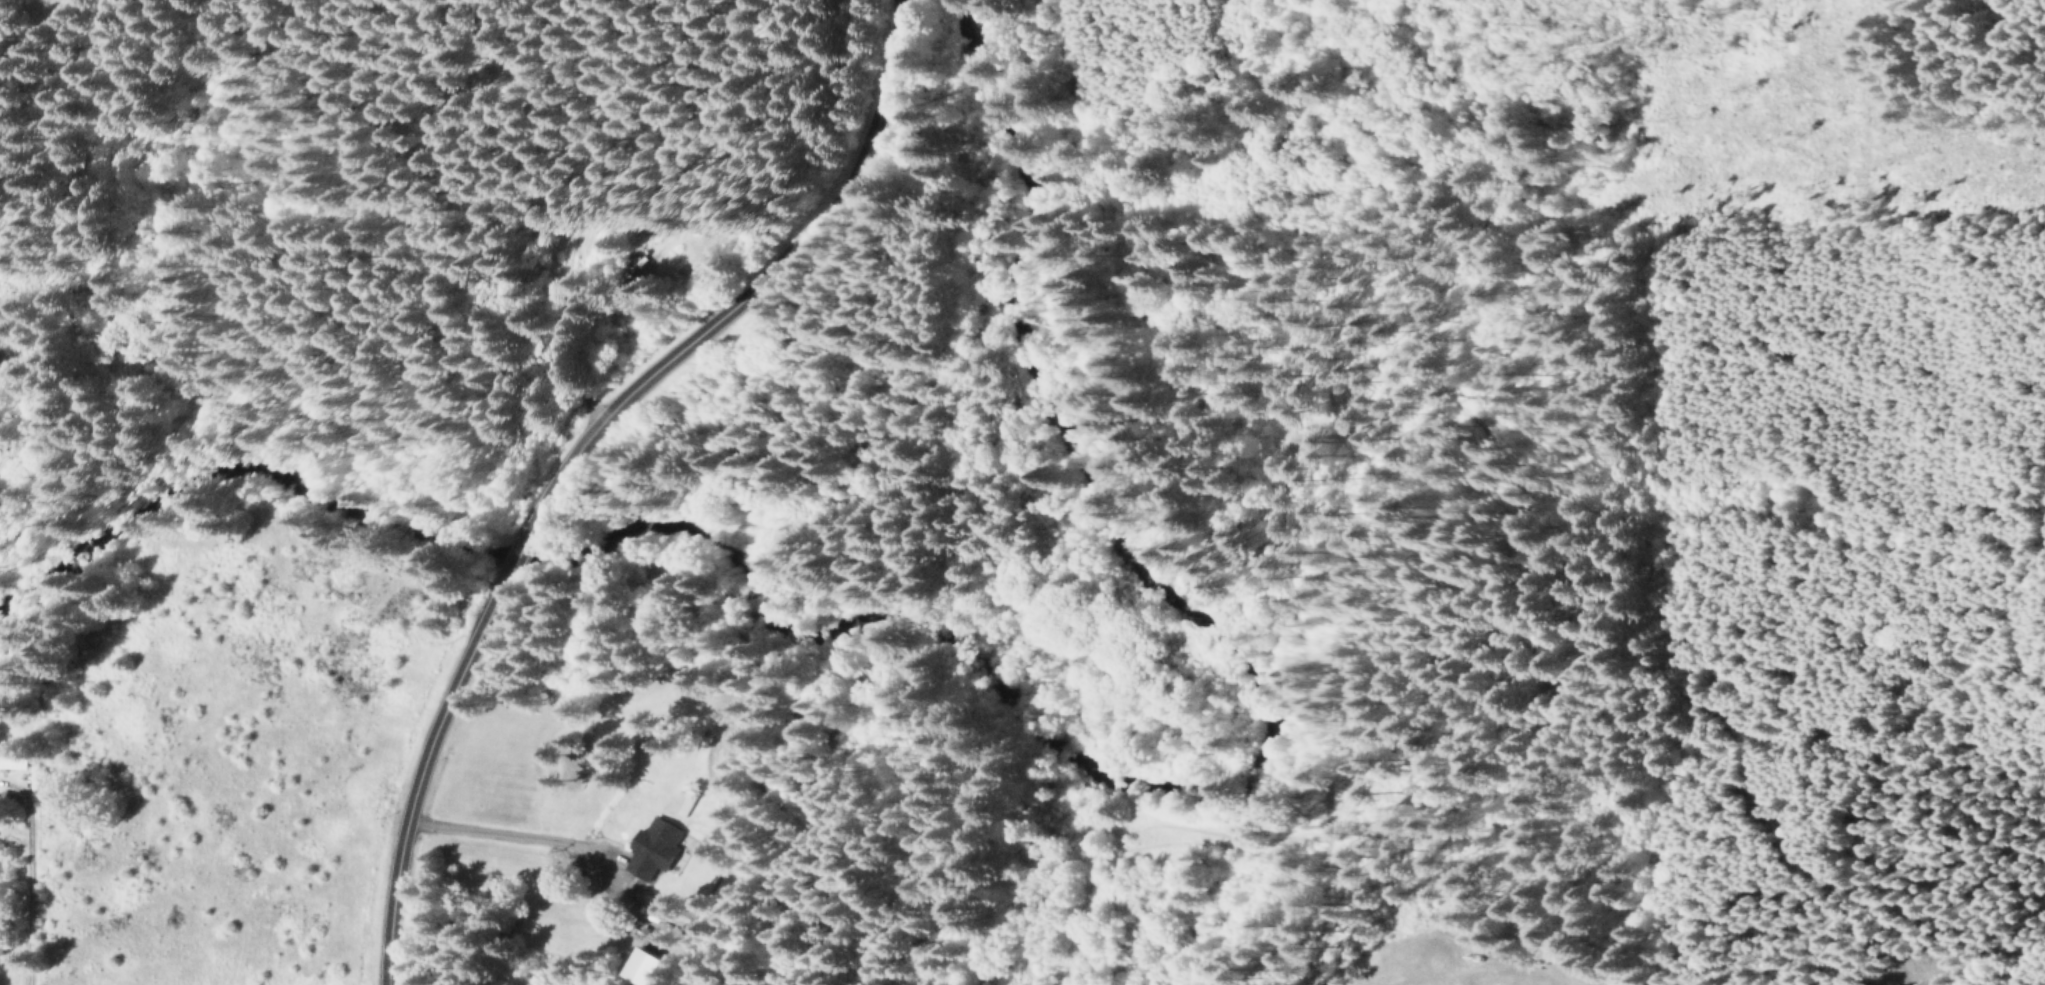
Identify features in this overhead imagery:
road: (562, 451)
building: (20, 651)
river: (1003, 695)
building: (13, 757)
building: (682, 802)
building: (656, 847)
road: (21, 877)

